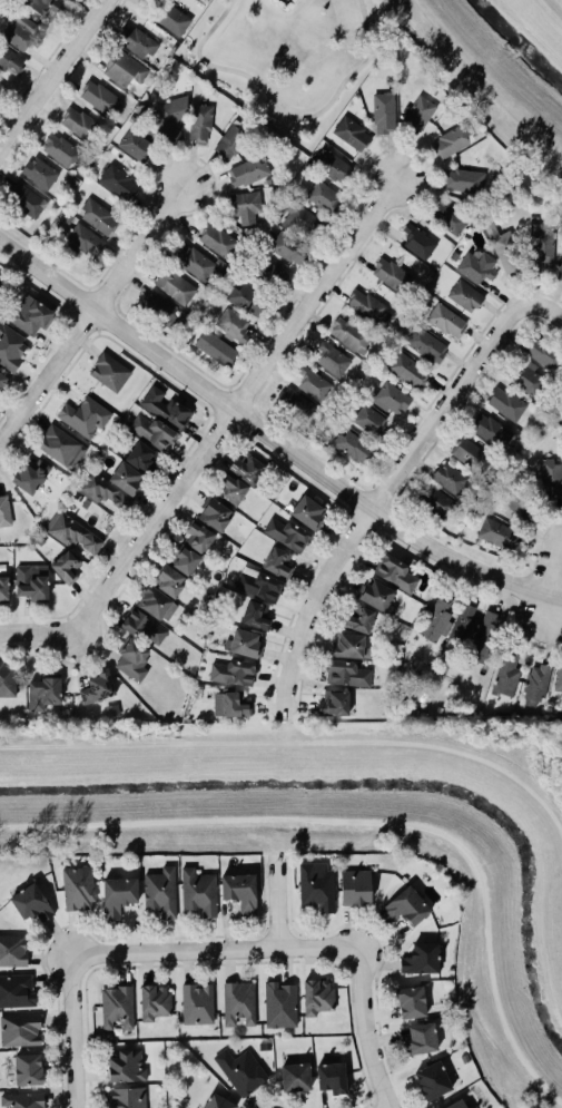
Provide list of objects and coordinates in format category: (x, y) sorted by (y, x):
building: (68, 0)
building: (47, 7)
building: (174, 20)
building: (23, 32)
building: (138, 42)
river: (516, 46)
park: (286, 57)
building: (10, 61)
building: (124, 69)
road: (52, 75)
building: (1, 85)
building: (100, 97)
road: (283, 111)
building: (384, 112)
building: (417, 112)
building: (172, 119)
building: (200, 122)
building: (81, 124)
building: (352, 134)
building: (231, 141)
building: (452, 141)
building: (136, 145)
building: (61, 149)
building: (333, 167)
building: (248, 171)
building: (40, 173)
building: (464, 180)
building: (118, 182)
building: (324, 198)
building: (26, 199)
building: (246, 208)
building: (98, 216)
building: (447, 217)
building: (302, 220)
building: (83, 241)
building: (218, 241)
building: (418, 242)
building: (289, 247)
building: (505, 248)
building: (543, 248)
building: (194, 262)
building: (477, 267)
building: (560, 272)
building: (270, 275)
building: (392, 276)
building: (1, 281)
building: (175, 286)
building: (465, 295)
building: (246, 300)
road: (550, 305)
building: (160, 307)
building: (368, 308)
building: (30, 317)
road: (90, 317)
building: (446, 321)
building: (234, 325)
building: (351, 335)
building: (426, 345)
building: (11, 349)
building: (216, 349)
building: (543, 353)
building: (333, 360)
building: (407, 371)
building: (110, 372)
building: (529, 379)
building: (2, 380)
building: (314, 385)
building: (560, 395)
building: (393, 398)
road: (239, 402)
building: (296, 404)
building: (506, 404)
building: (166, 408)
building: (85, 416)
building: (369, 421)
building: (491, 431)
building: (151, 432)
road: (269, 438)
building: (62, 447)
building: (354, 448)
road: (0, 451)
building: (471, 455)
building: (140, 457)
building: (247, 469)
building: (30, 477)
building: (450, 479)
building: (551, 479)
building: (112, 484)
building: (233, 490)
road: (391, 490)
building: (438, 504)
building: (4, 511)
building: (308, 512)
building: (215, 514)
building: (496, 533)
building: (75, 535)
building: (287, 535)
building: (198, 538)
building: (186, 561)
building: (278, 562)
building: (66, 566)
building: (395, 572)
building: (169, 580)
building: (32, 582)
building: (258, 585)
building: (3, 589)
building: (377, 597)
building: (157, 604)
building: (257, 616)
building: (359, 619)
building: (436, 621)
road: (559, 622)
building: (462, 626)
building: (144, 627)
road: (43, 629)
building: (486, 637)
building: (243, 644)
building: (351, 647)
building: (132, 659)
building: (233, 673)
building: (346, 674)
building: (506, 674)
building: (559, 678)
building: (8, 679)
building: (430, 680)
building: (536, 683)
building: (98, 688)
building: (45, 693)
building: (334, 704)
building: (233, 706)
building: (316, 886)
building: (354, 886)
building: (78, 889)
building: (159, 891)
building: (238, 891)
building: (199, 892)
building: (118, 896)
building: (30, 902)
road: (274, 903)
building: (404, 905)
building: (11, 950)
road: (211, 951)
building: (421, 960)
building: (16, 990)
building: (317, 997)
building: (410, 1000)
building: (154, 1002)
building: (238, 1003)
building: (278, 1003)
building: (197, 1004)
building: (117, 1008)
building: (20, 1030)
road: (364, 1030)
road: (70, 1032)
building: (420, 1037)
building: (124, 1065)
building: (27, 1068)
building: (240, 1070)
building: (294, 1075)
building: (329, 1076)
building: (432, 1081)
building: (127, 1098)
building: (22, 1100)
building: (216, 1101)
building: (454, 1104)

